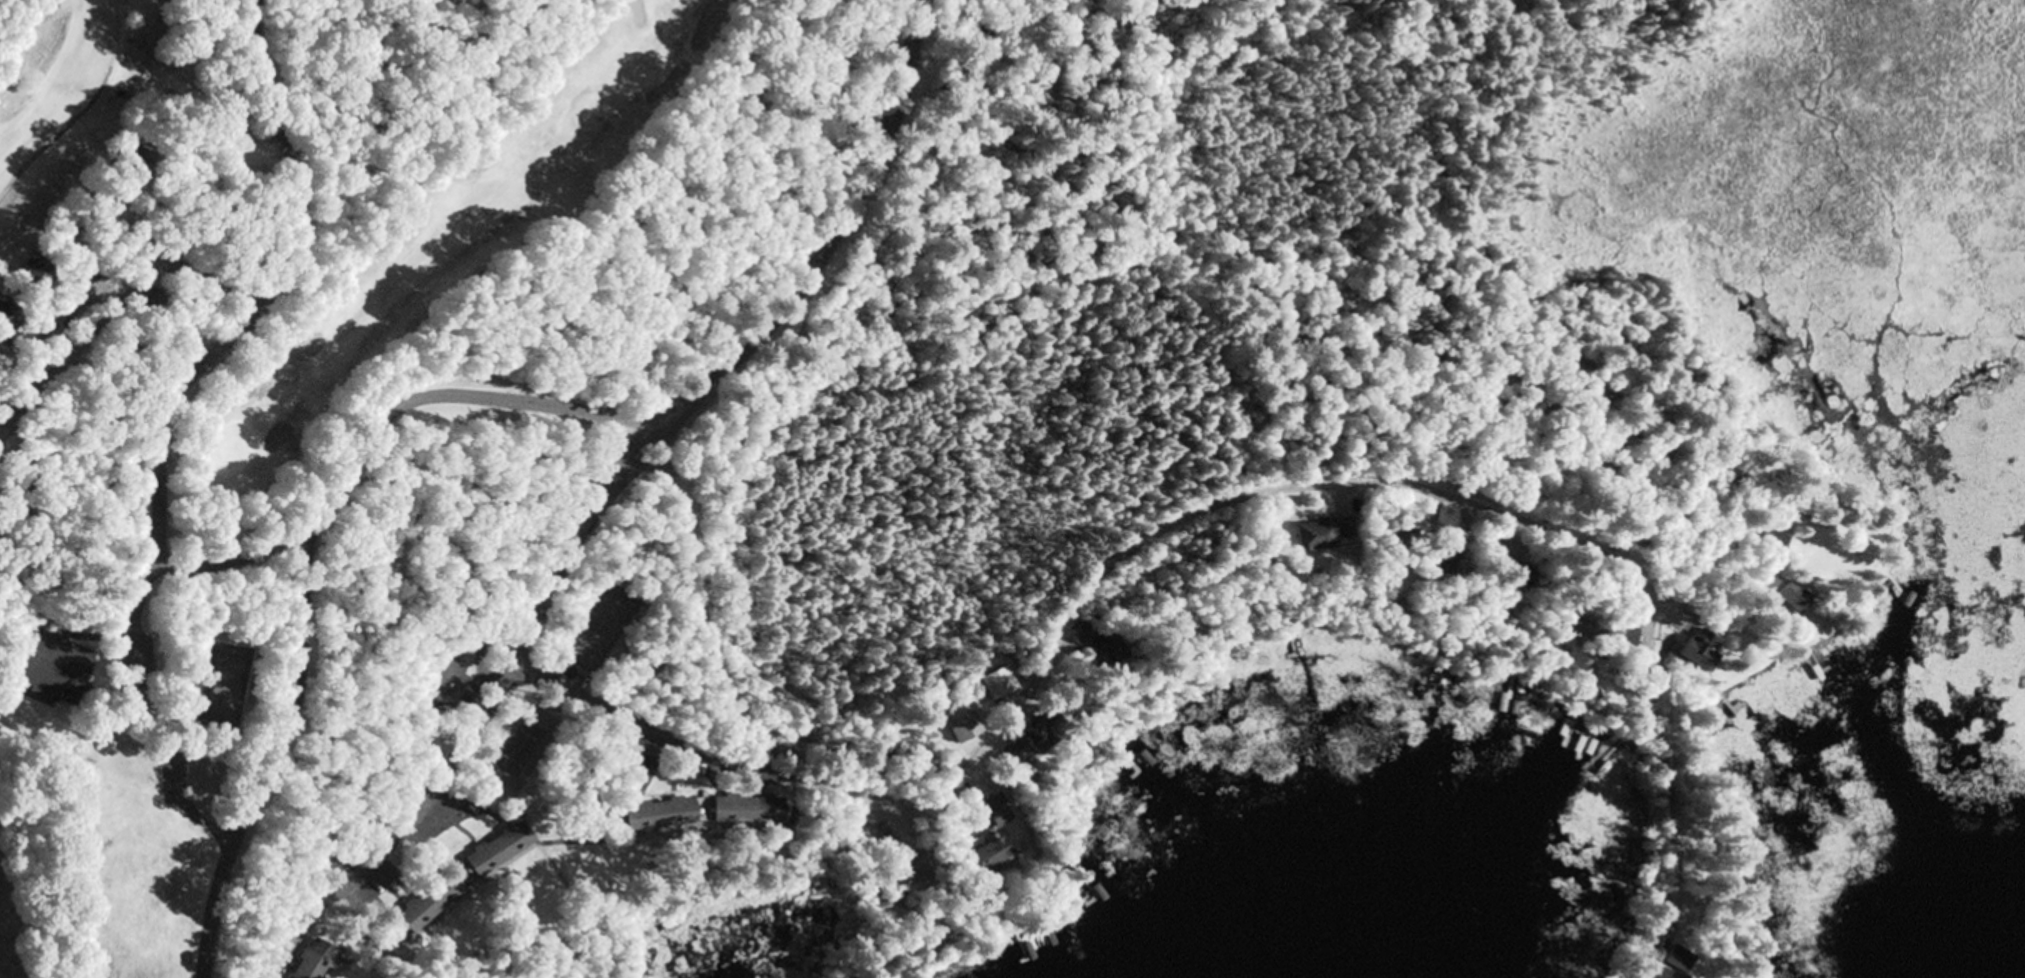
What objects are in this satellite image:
park: (1724, 0)
park: (384, 100)
park: (425, 220)
road: (839, 246)
building: (30, 271)
building: (6, 320)
road: (218, 349)
park: (883, 423)
road: (624, 445)
building: (1316, 535)
building: (1769, 543)
road: (310, 565)
road: (1689, 570)
building: (1764, 585)
building: (1789, 599)
road: (1073, 608)
building: (1621, 637)
building: (1089, 646)
building: (1691, 656)
building: (47, 664)
park: (128, 681)
building: (440, 683)
road: (644, 729)
building: (963, 734)
building: (1036, 734)
road: (470, 736)
building: (740, 811)
building: (992, 812)
building: (653, 816)
road: (1666, 831)
building: (493, 850)
building: (984, 858)
building: (424, 903)
park: (3, 959)
building: (311, 959)
building: (1668, 965)

